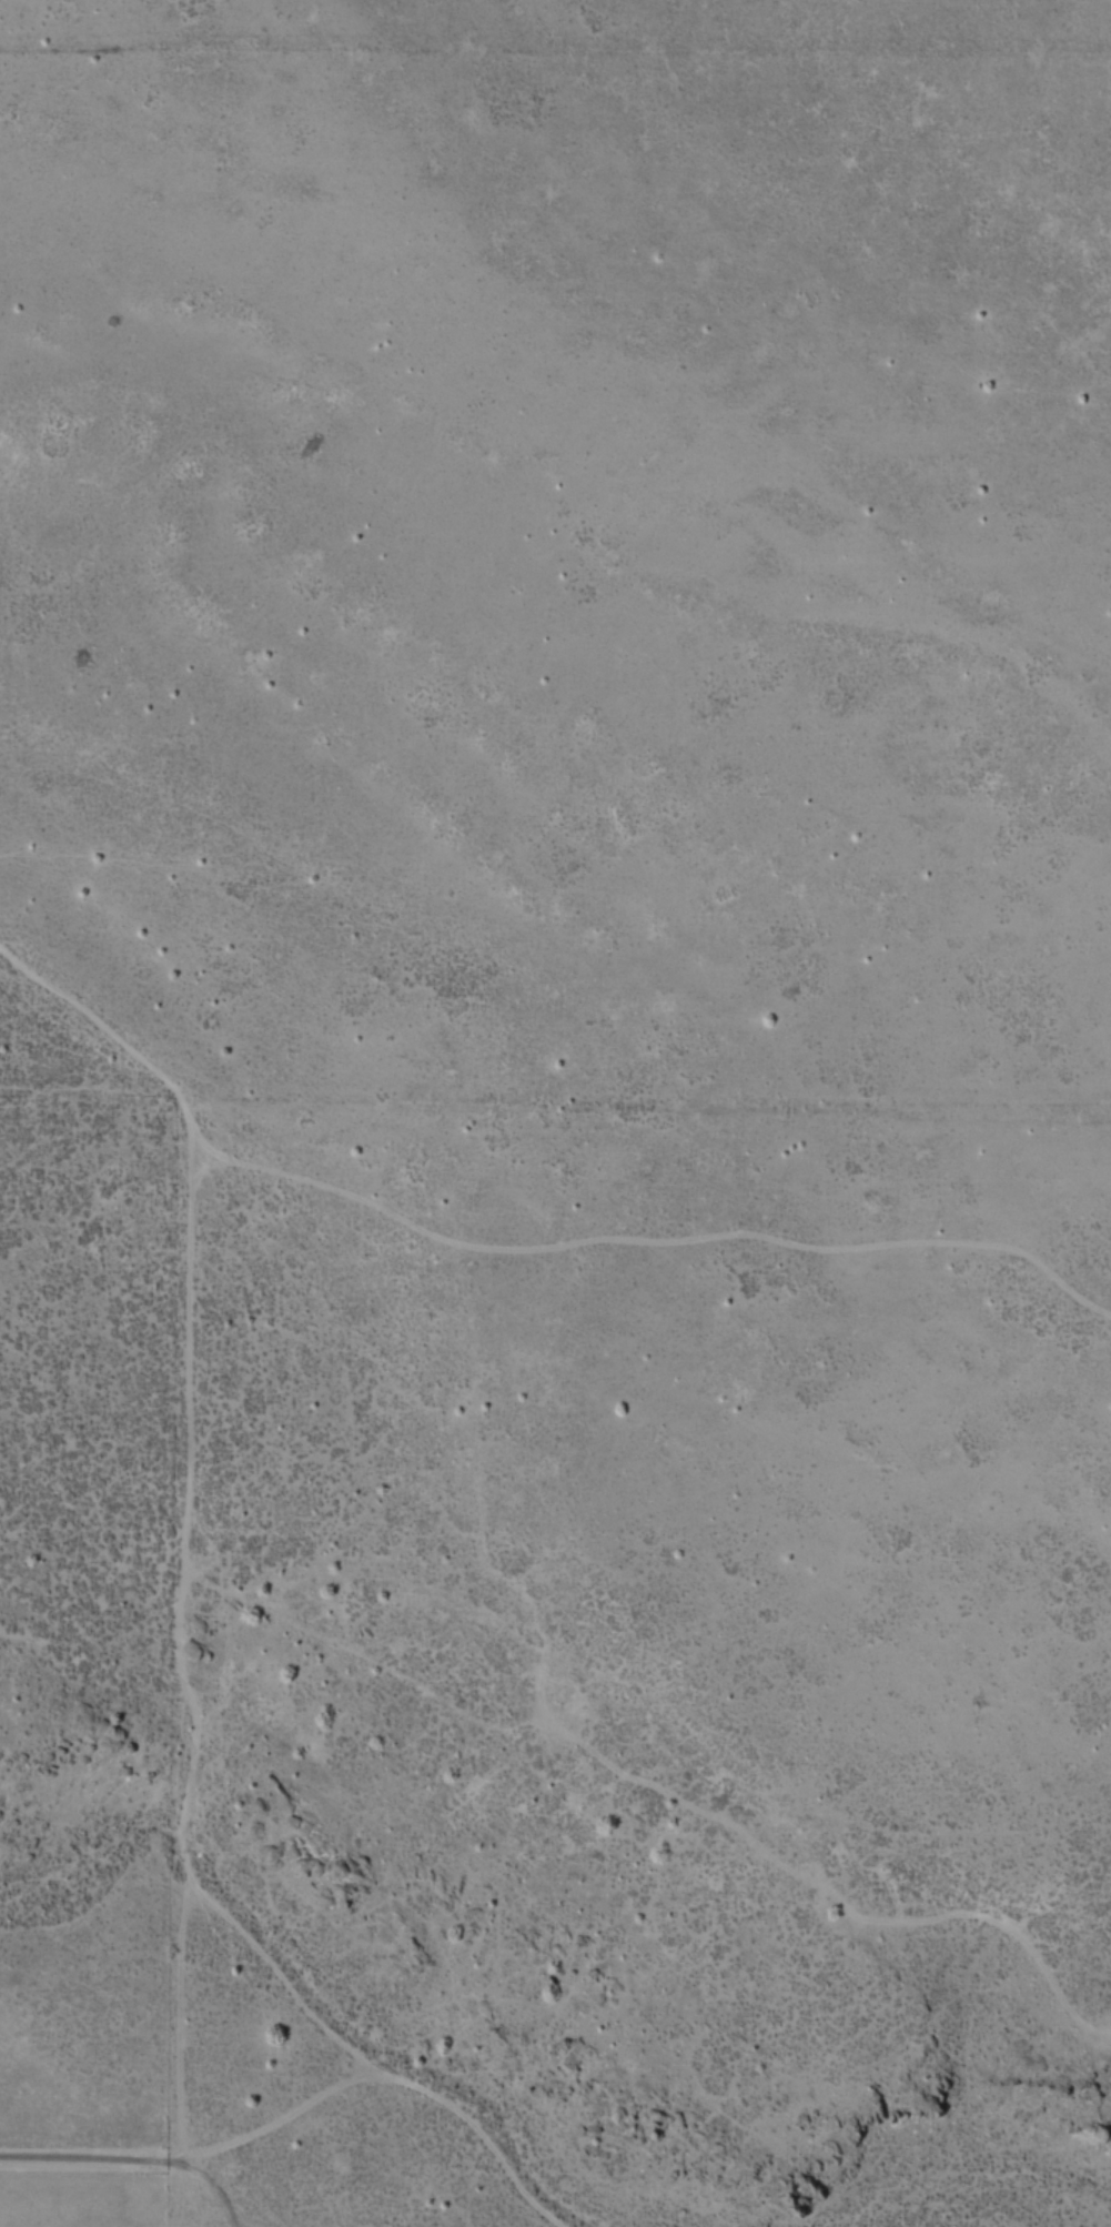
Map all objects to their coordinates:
road: (134, 2160)
crop: (80, 2185)

